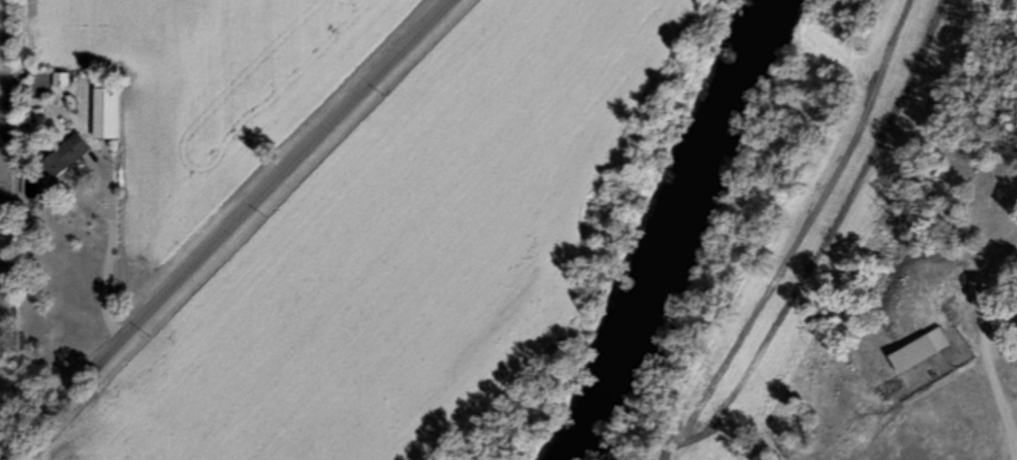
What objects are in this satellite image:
building: (108, 116)
building: (67, 153)
road: (111, 209)
road: (227, 229)
river: (678, 235)
building: (923, 349)
road: (992, 362)
building: (953, 436)

